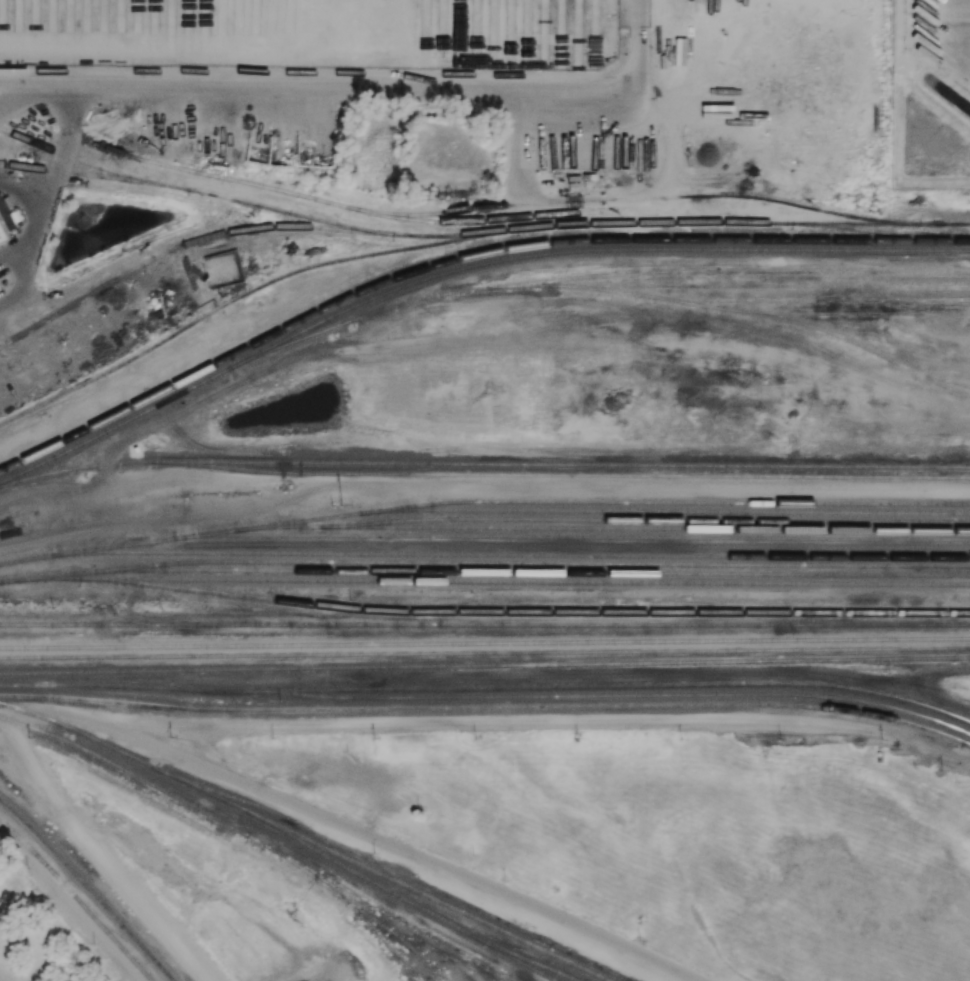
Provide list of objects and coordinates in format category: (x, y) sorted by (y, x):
road: (640, 41)
road: (315, 87)
road: (25, 99)
railway: (2, 130)
railway: (48, 170)
railway: (82, 176)
railway: (320, 207)
railway: (143, 210)
railway: (459, 210)
railway: (759, 223)
railway: (363, 229)
railway: (892, 233)
railway: (173, 249)
railway: (601, 251)
railway: (462, 259)
railway: (605, 276)
railway: (747, 285)
railway: (238, 296)
railway: (770, 299)
railway: (850, 314)
railway: (823, 329)
railway: (0, 345)
railway: (943, 384)
railway: (127, 422)
railway: (483, 464)
railway: (569, 474)
railway: (720, 485)
railway: (734, 494)
railway: (678, 502)
railway: (529, 511)
railway: (619, 519)
railway: (661, 529)
railway: (585, 537)
railway: (560, 546)
railway: (484, 554)
railway: (484, 562)
railway: (545, 572)
railway: (507, 581)
railway: (541, 612)
railway: (346, 625)
railway: (799, 625)
railway: (834, 627)
railway: (485, 642)
railway: (485, 653)
railway: (914, 658)
railway: (429, 667)
railway: (621, 686)
railway: (487, 697)
railway: (487, 707)
railway: (969, 721)
railway: (225, 823)
road: (352, 829)
railway: (303, 840)
road: (99, 854)
railway: (405, 875)
railway: (89, 887)
railway: (77, 899)
railway: (422, 909)
railway: (401, 918)
railway: (388, 929)
railway: (401, 956)
railway: (523, 963)

